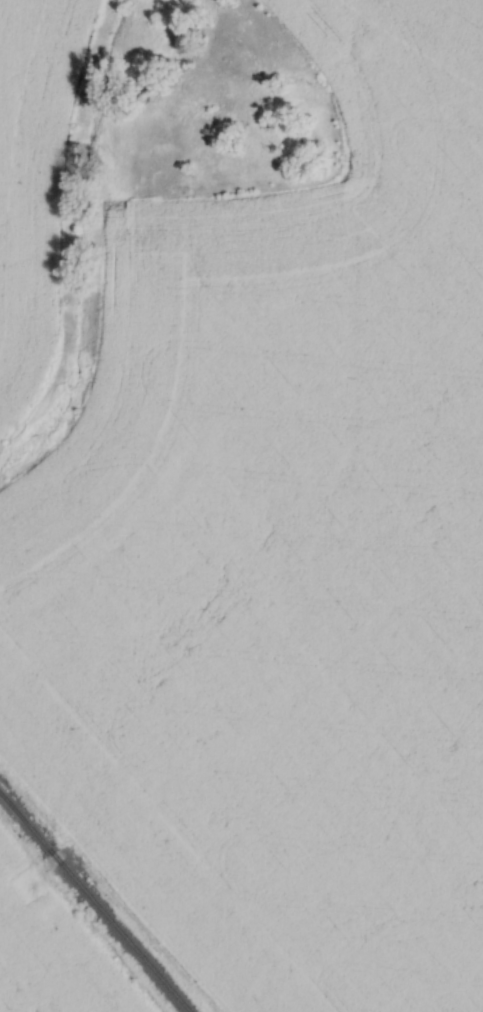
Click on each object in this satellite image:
railway: (111, 897)

